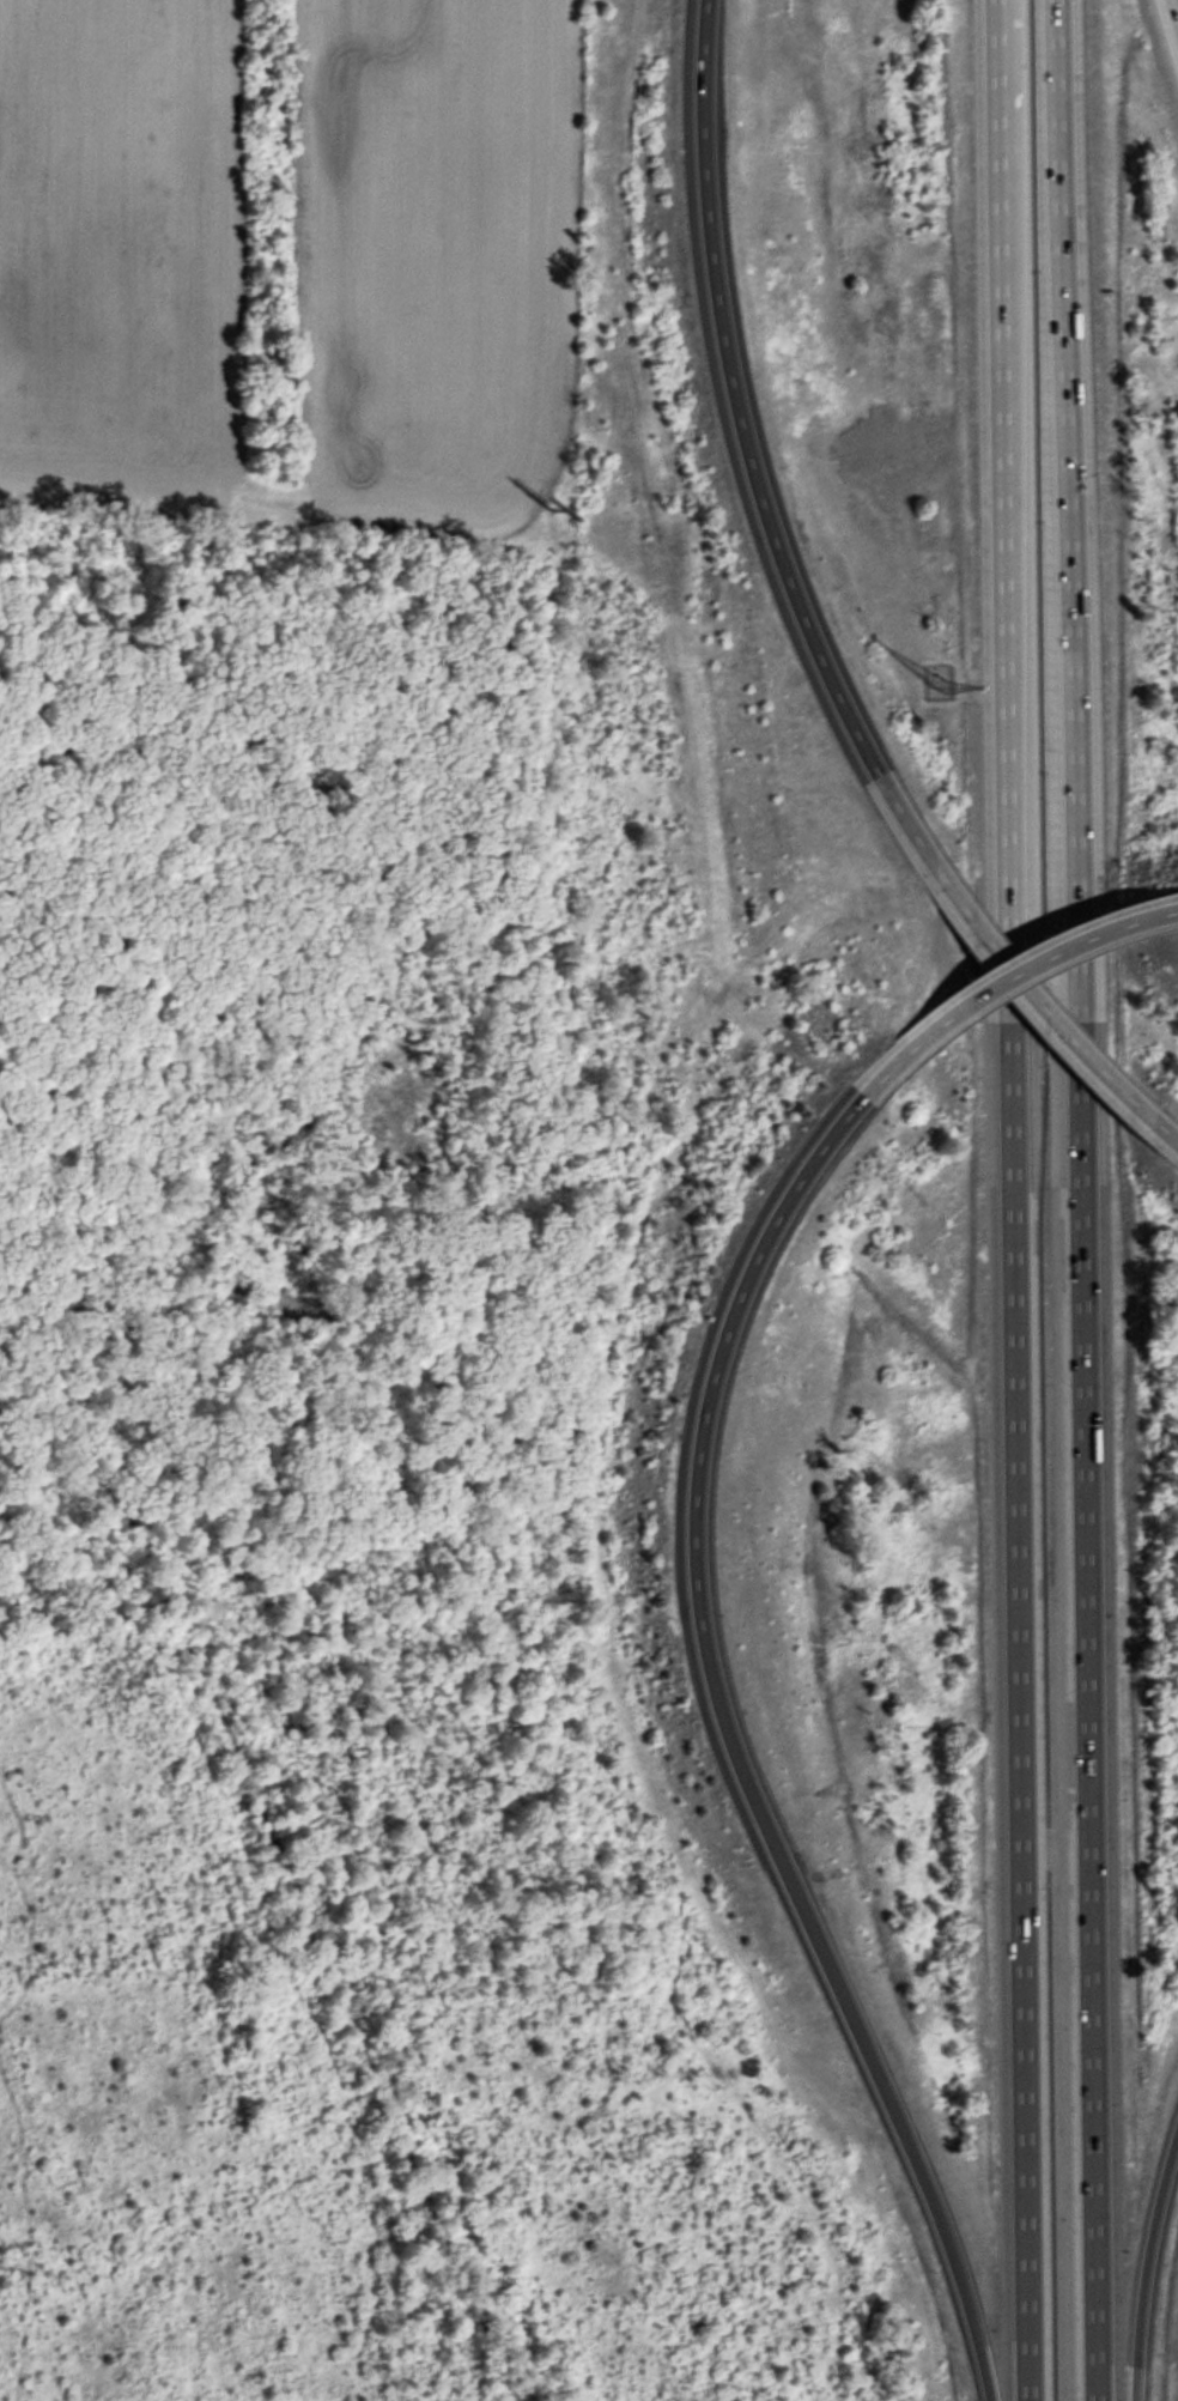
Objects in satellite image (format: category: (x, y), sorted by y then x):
road: (1170, 23)
road: (1002, 207)
road: (733, 425)
road: (1177, 905)
road: (1018, 963)
road: (1024, 995)
road: (1081, 1200)
road: (722, 1289)
road: (1015, 1408)
road: (710, 1710)
road: (897, 2116)
road: (1146, 2261)

